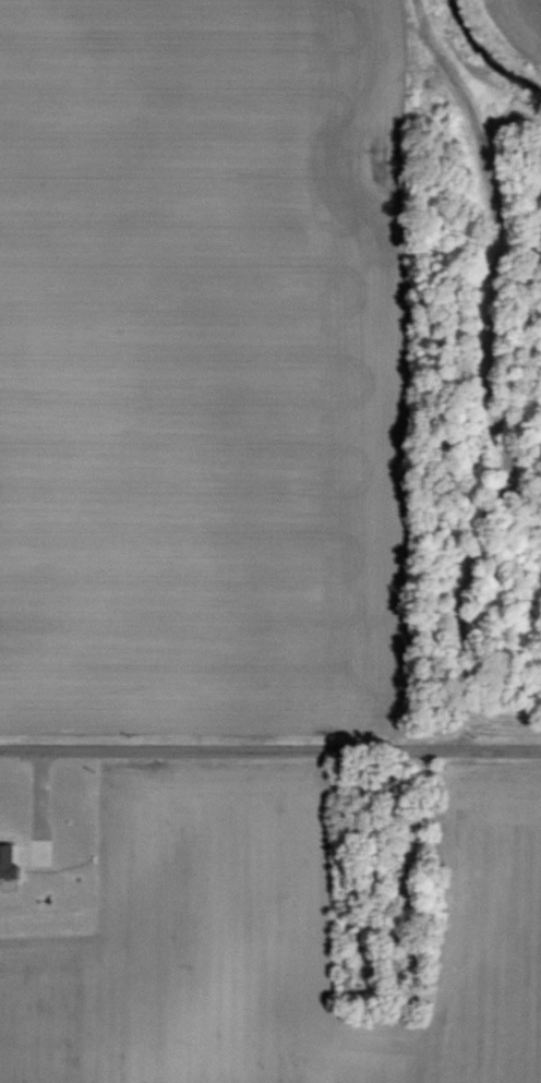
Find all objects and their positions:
road: (270, 750)

